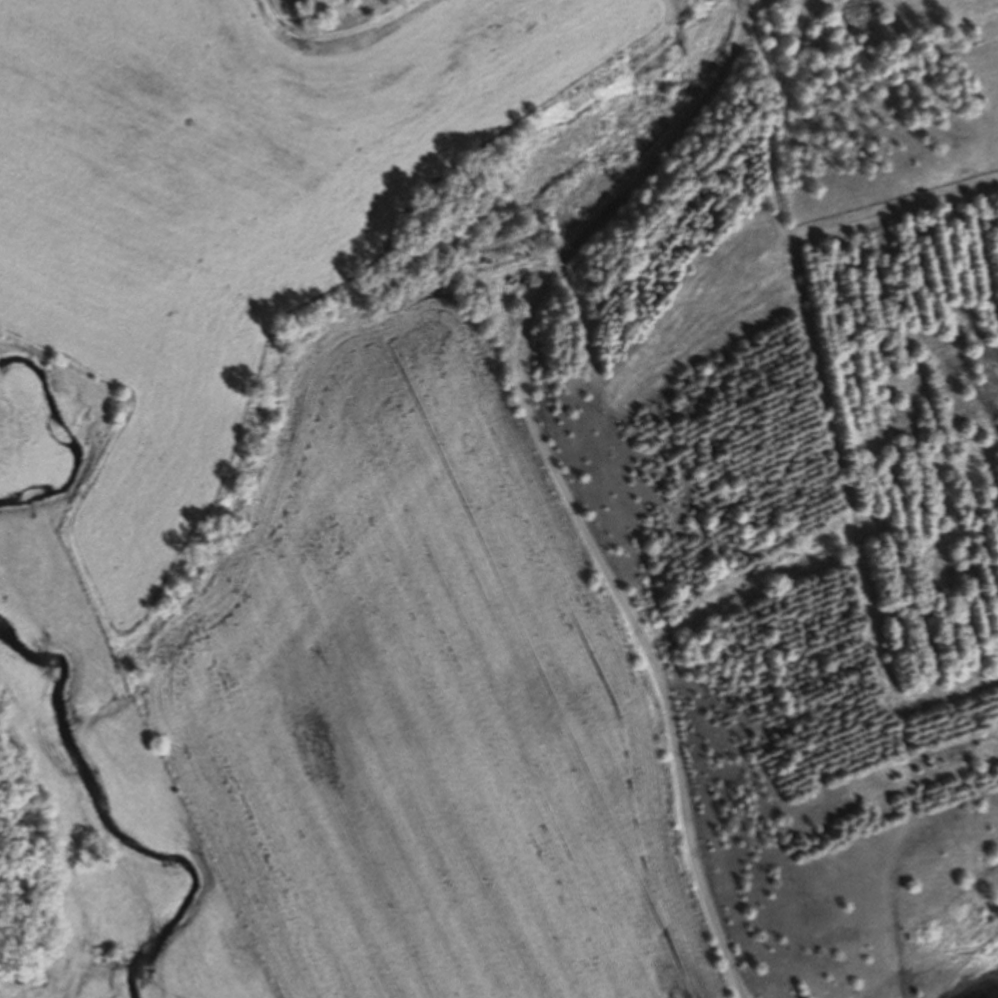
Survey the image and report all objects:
road: (542, 467)

